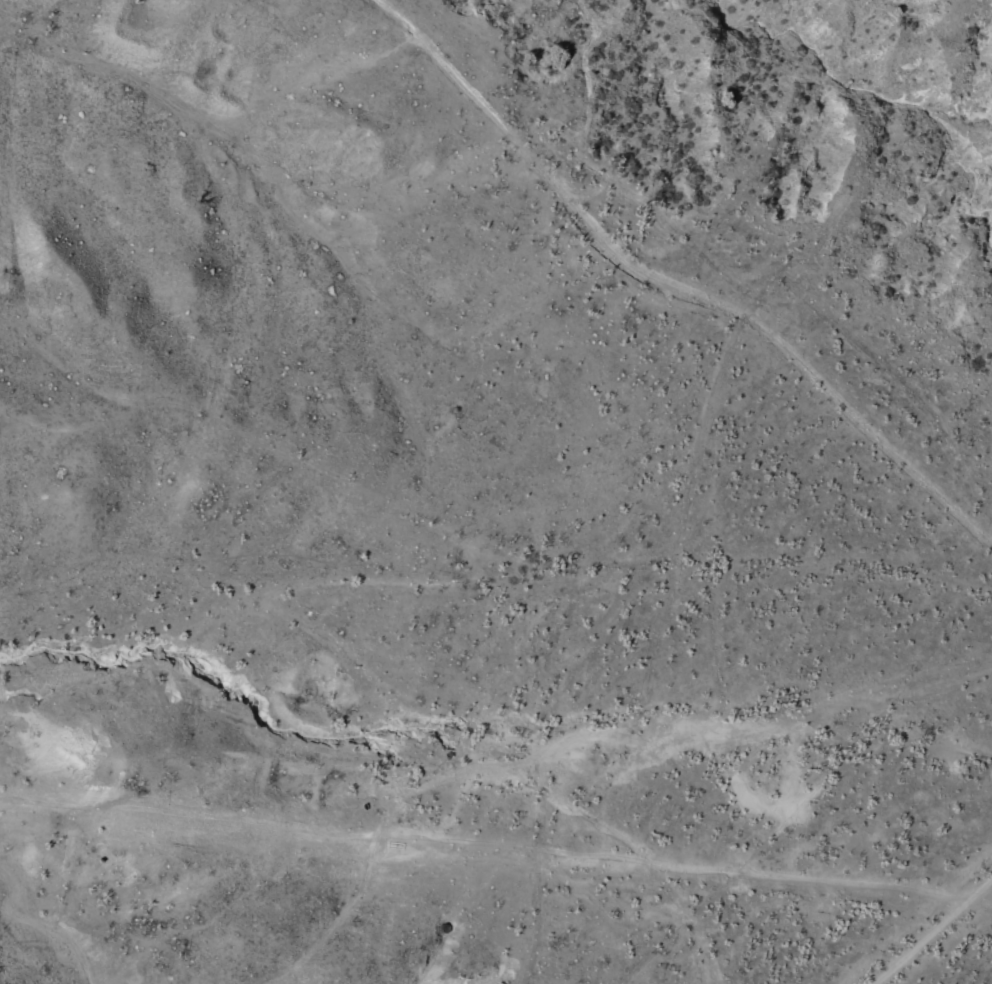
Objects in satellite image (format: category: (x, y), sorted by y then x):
road: (332, 587)
road: (138, 663)
road: (871, 680)
road: (311, 835)
road: (927, 921)

